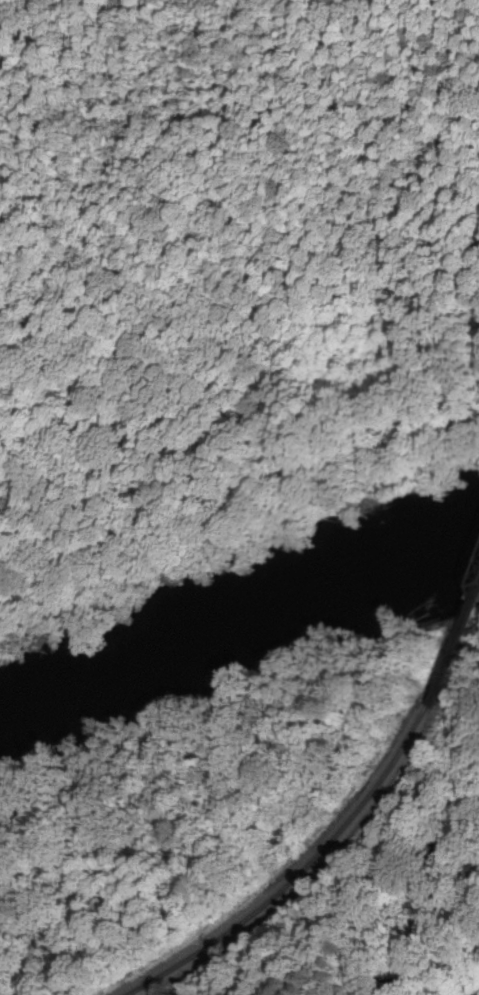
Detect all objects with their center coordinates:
river: (232, 597)
railway: (455, 644)
railway: (293, 879)
road: (478, 947)
road: (376, 981)

